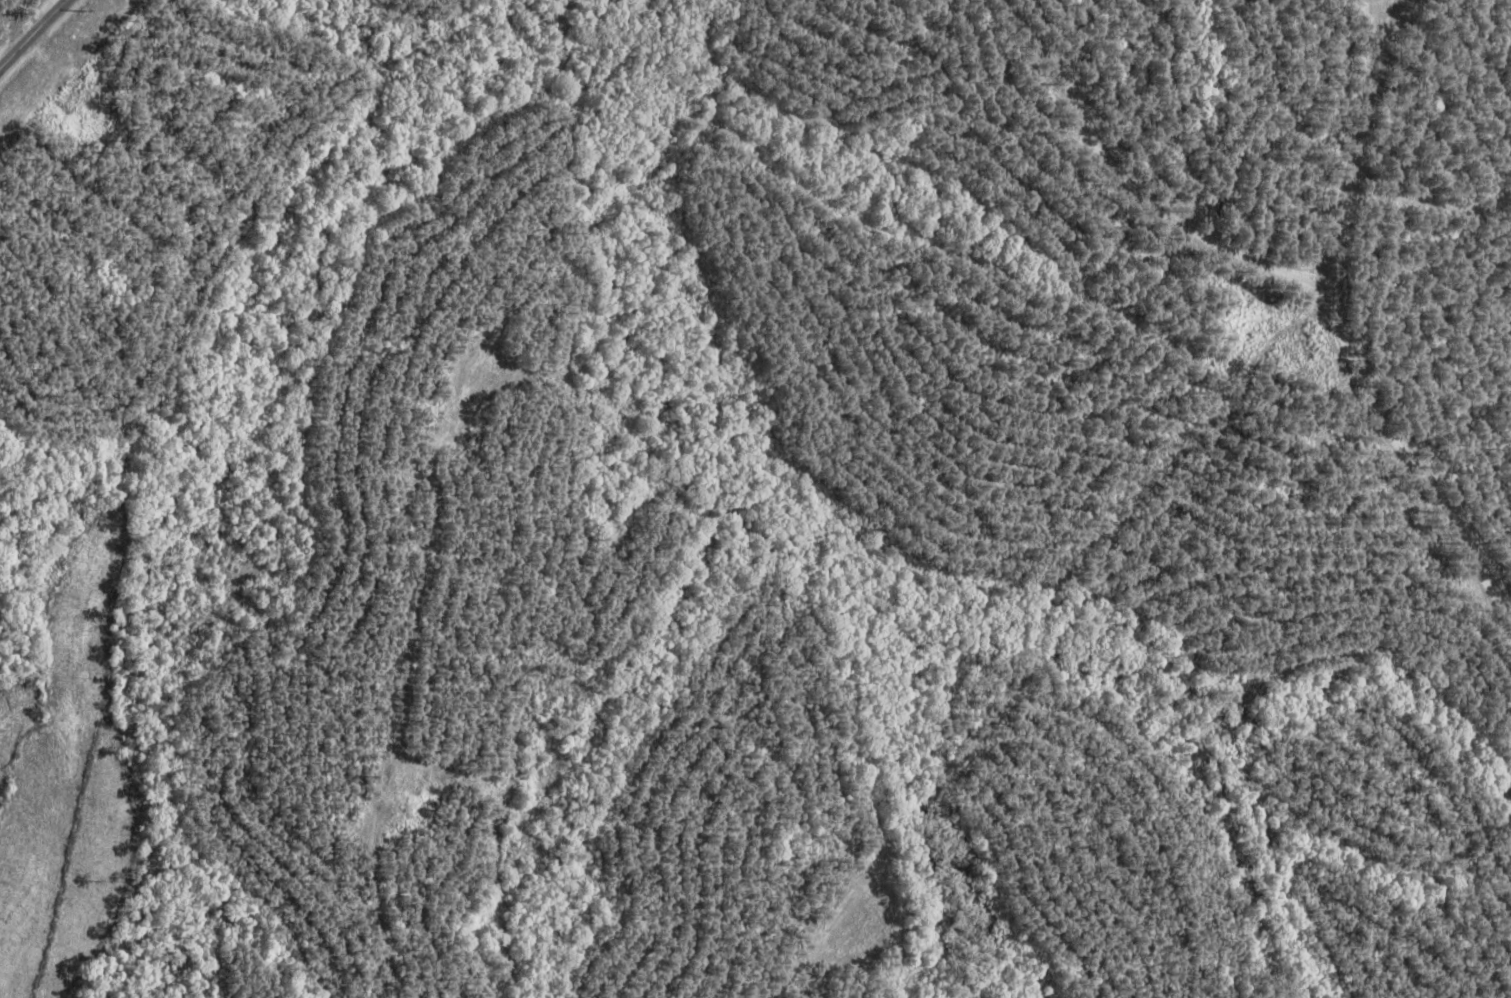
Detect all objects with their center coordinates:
road: (33, 34)

